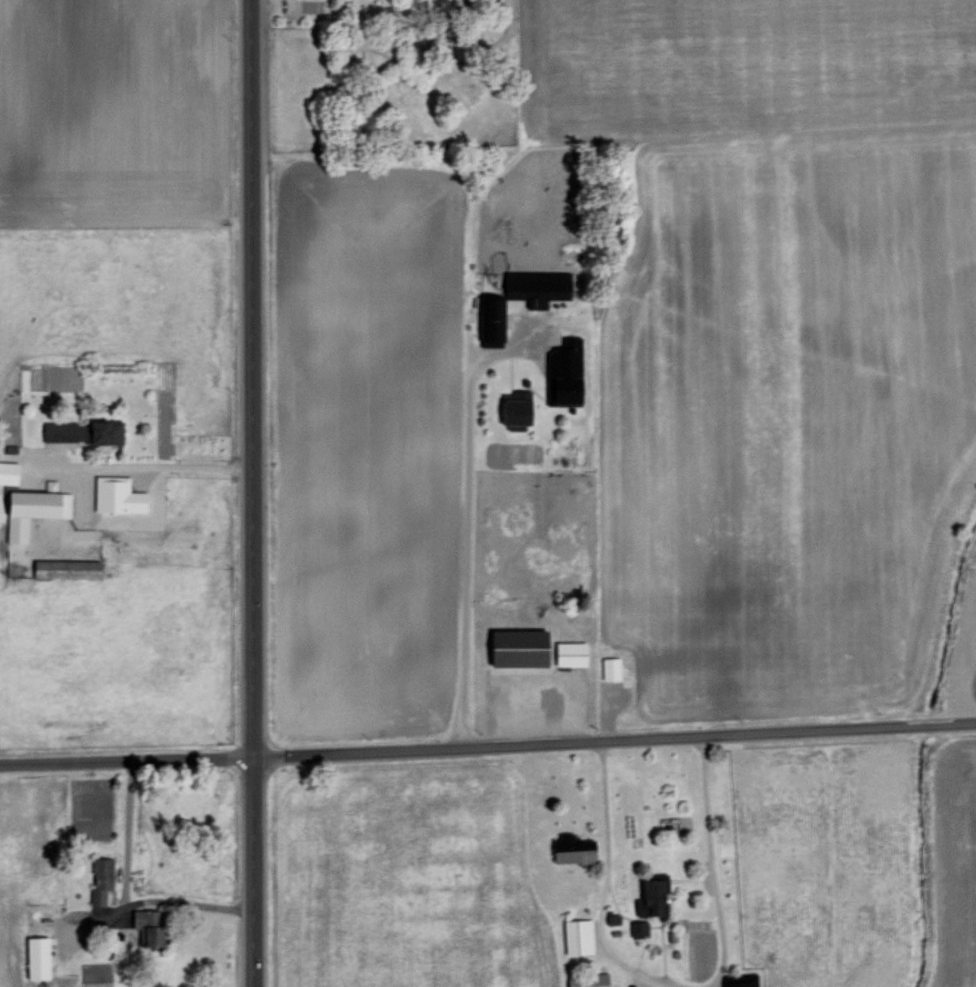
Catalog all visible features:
road: (306, 26)
building: (534, 286)
building: (490, 316)
building: (563, 372)
building: (512, 408)
building: (82, 430)
road: (124, 467)
building: (8, 471)
road: (250, 493)
building: (116, 494)
building: (31, 508)
road: (467, 536)
building: (63, 567)
building: (515, 645)
building: (568, 652)
building: (609, 666)
road: (488, 746)
building: (570, 847)
road: (708, 864)
building: (99, 878)
road: (603, 887)
building: (650, 896)
road: (145, 900)
building: (146, 925)
building: (637, 927)
building: (576, 935)
building: (35, 956)
building: (586, 979)

